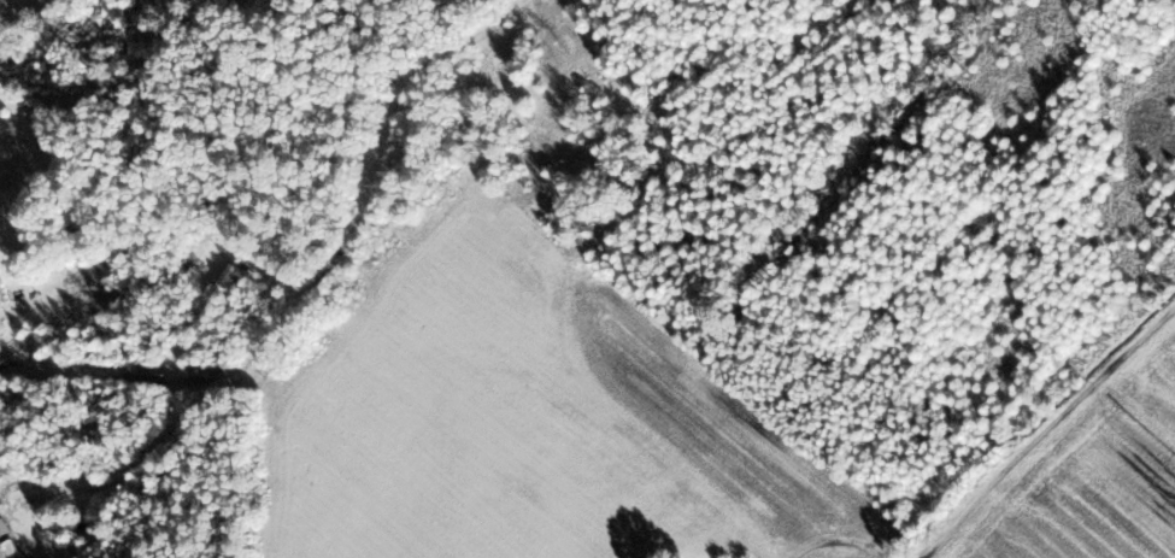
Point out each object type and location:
road: (388, 123)
building: (11, 548)

